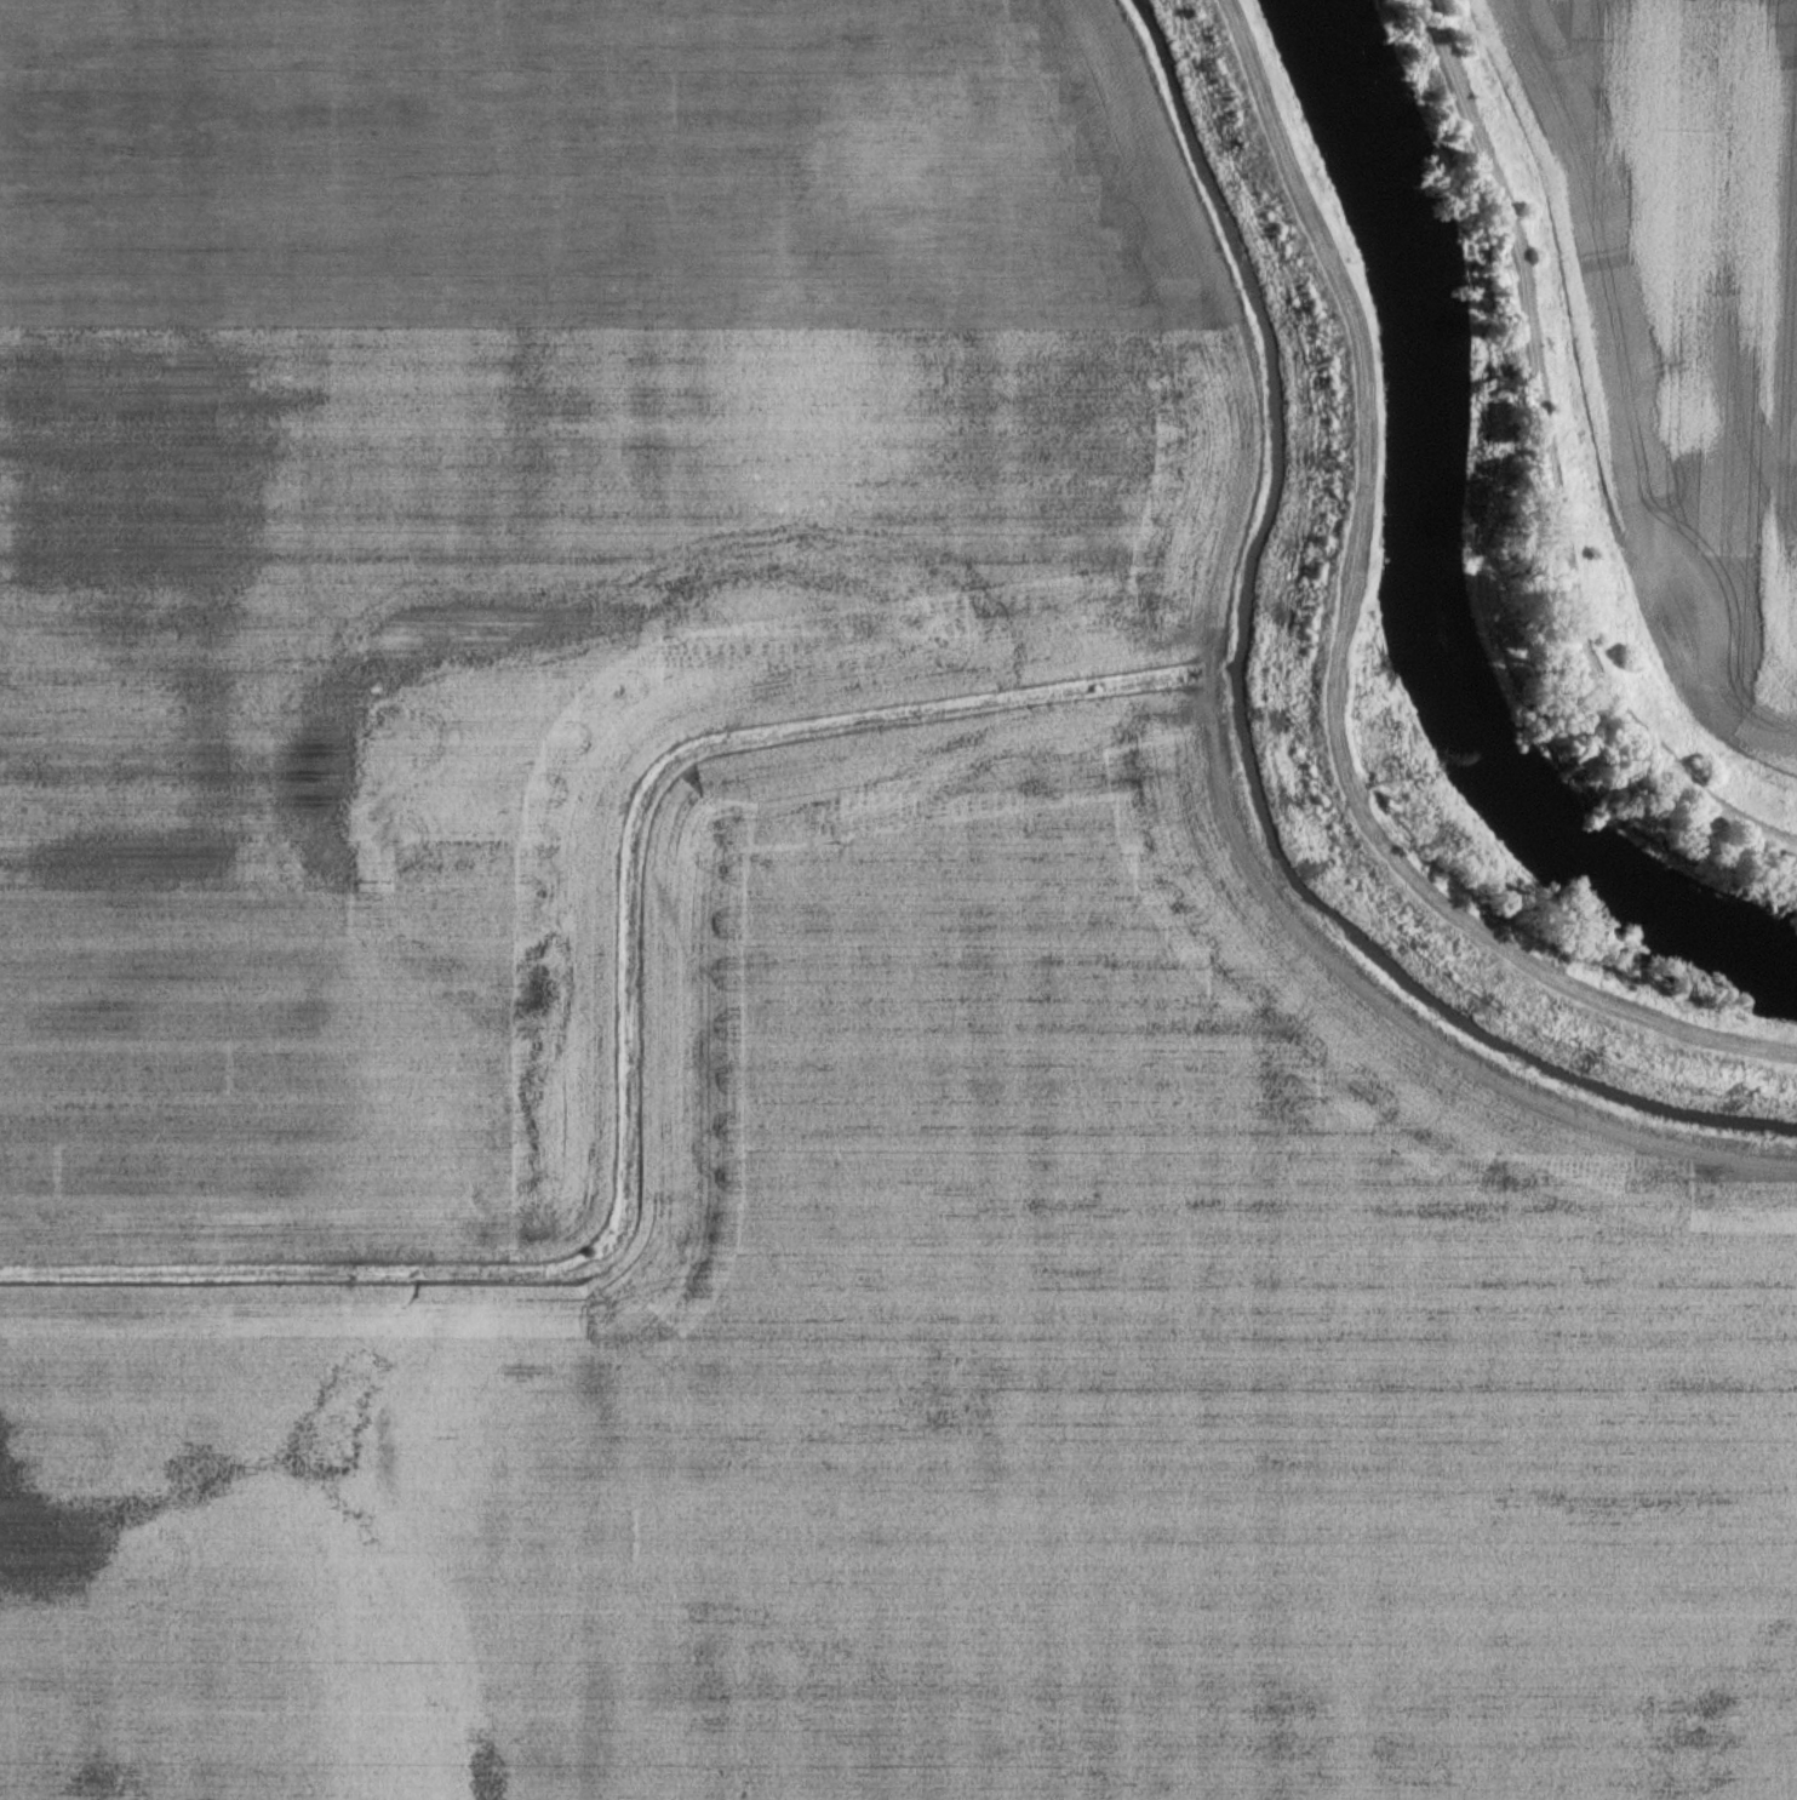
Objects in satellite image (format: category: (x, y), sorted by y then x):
river: (1433, 556)
crop: (754, 988)

